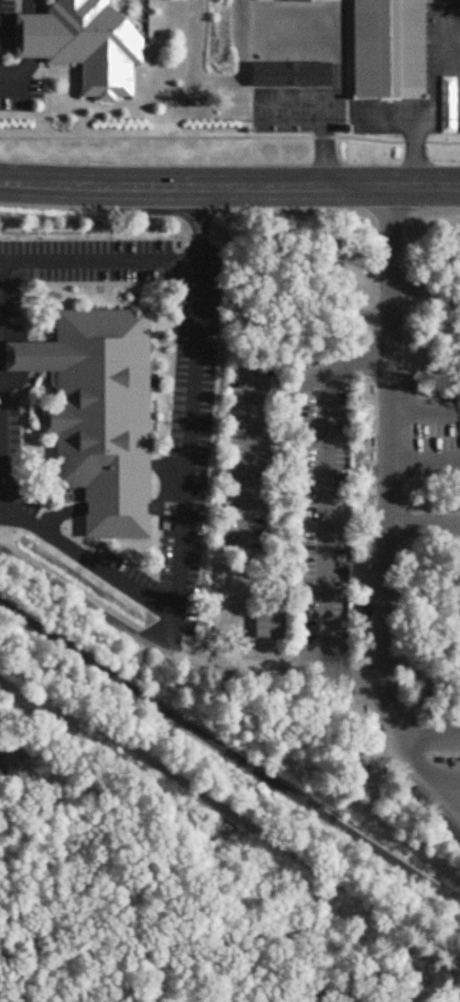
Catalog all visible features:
road: (31, 7)
parking lot: (7, 24)
road: (31, 36)
building: (83, 43)
building: (385, 49)
building: (160, 53)
parking lot: (443, 56)
road: (26, 65)
road: (451, 69)
building: (292, 74)
parking lot: (339, 74)
road: (340, 79)
road: (16, 84)
parking lot: (17, 88)
road: (293, 94)
road: (386, 118)
road: (430, 118)
road: (230, 137)
road: (417, 159)
road: (325, 160)
road: (28, 184)
road: (392, 186)
road: (191, 187)
road: (202, 219)
road: (74, 259)
road: (429, 330)
road: (10, 332)
road: (16, 356)
road: (11, 381)
road: (326, 401)
building: (94, 411)
road: (190, 437)
parking lot: (192, 443)
road: (253, 444)
parking lot: (13, 455)
road: (1, 462)
road: (113, 507)
road: (165, 507)
road: (60, 514)
road: (91, 559)
road: (387, 591)
road: (225, 625)
building: (264, 625)
road: (163, 632)
road: (244, 632)
road: (182, 657)
road: (427, 722)
road: (230, 752)
building: (432, 815)
road: (226, 836)

